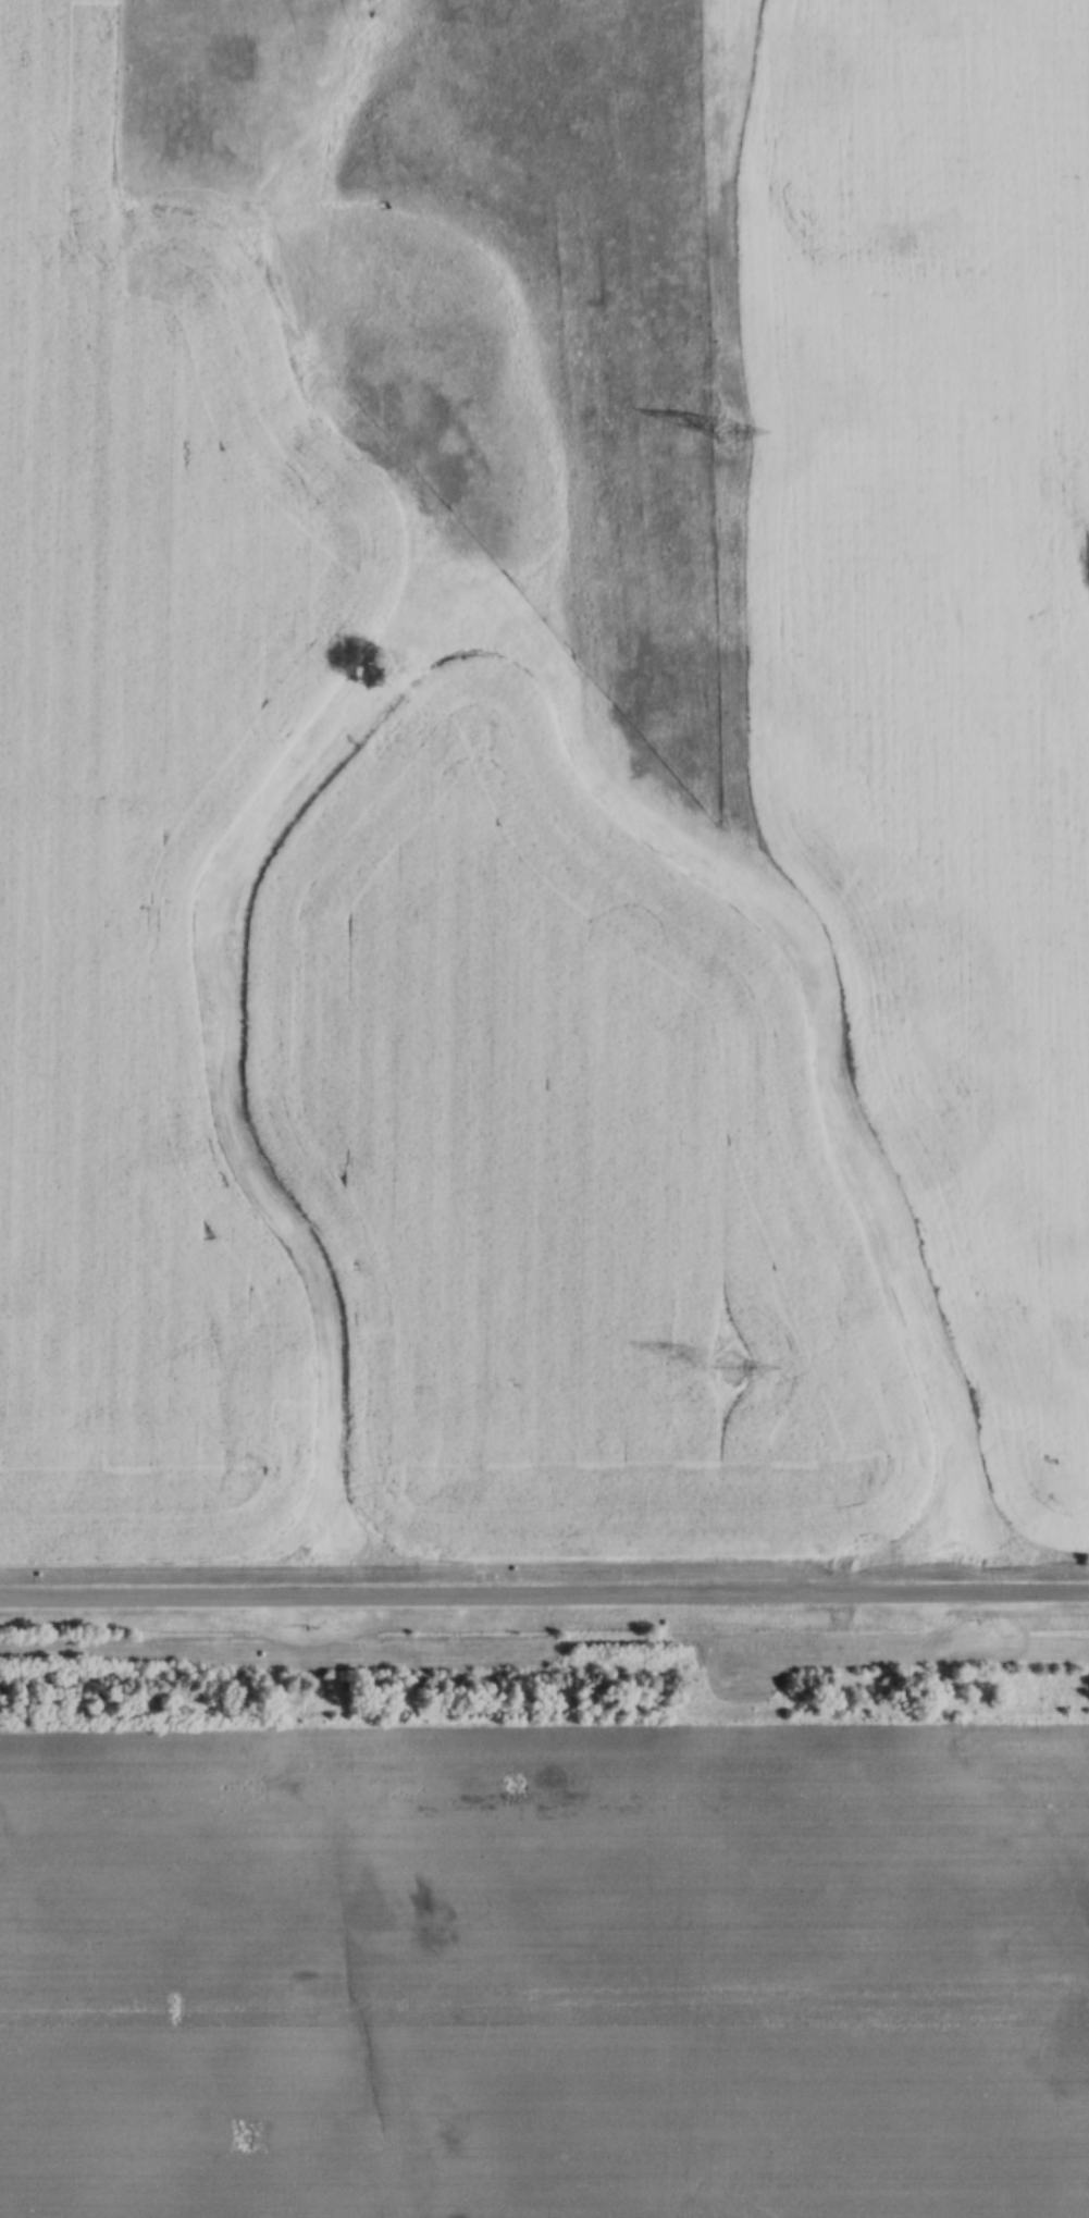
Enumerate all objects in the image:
power tower: (726, 435)
power tower: (731, 1373)
road: (881, 1594)
road: (336, 1595)

